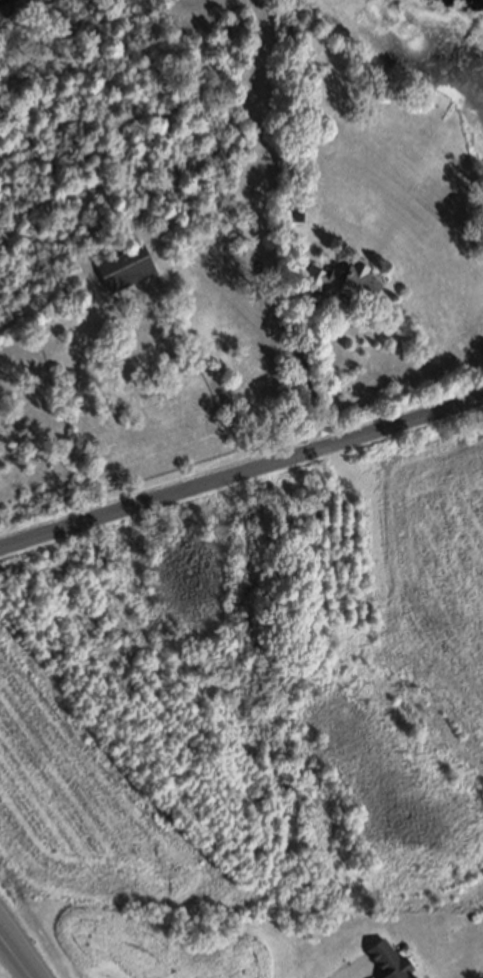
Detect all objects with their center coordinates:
building: (123, 265)
building: (342, 278)
road: (312, 381)
road: (241, 471)
road: (16, 956)
building: (386, 961)
road: (344, 972)

